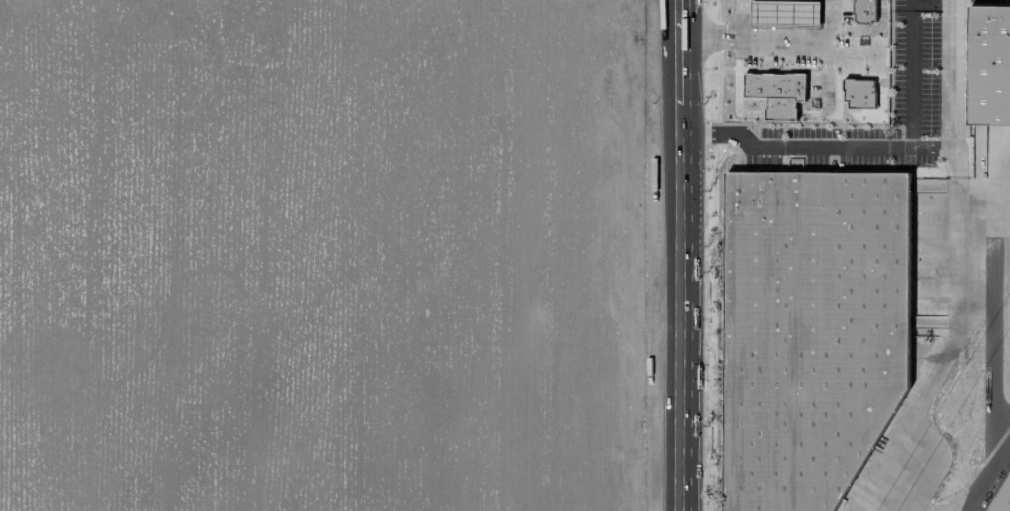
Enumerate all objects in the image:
building: (864, 10)
building: (784, 13)
road: (740, 19)
road: (677, 27)
road: (772, 39)
road: (855, 53)
road: (913, 56)
building: (988, 65)
road: (677, 75)
road: (826, 77)
road: (735, 88)
building: (776, 92)
building: (858, 93)
road: (780, 113)
road: (811, 113)
road: (812, 147)
road: (965, 264)
road: (678, 302)
building: (816, 333)
road: (985, 474)
building: (1008, 478)

